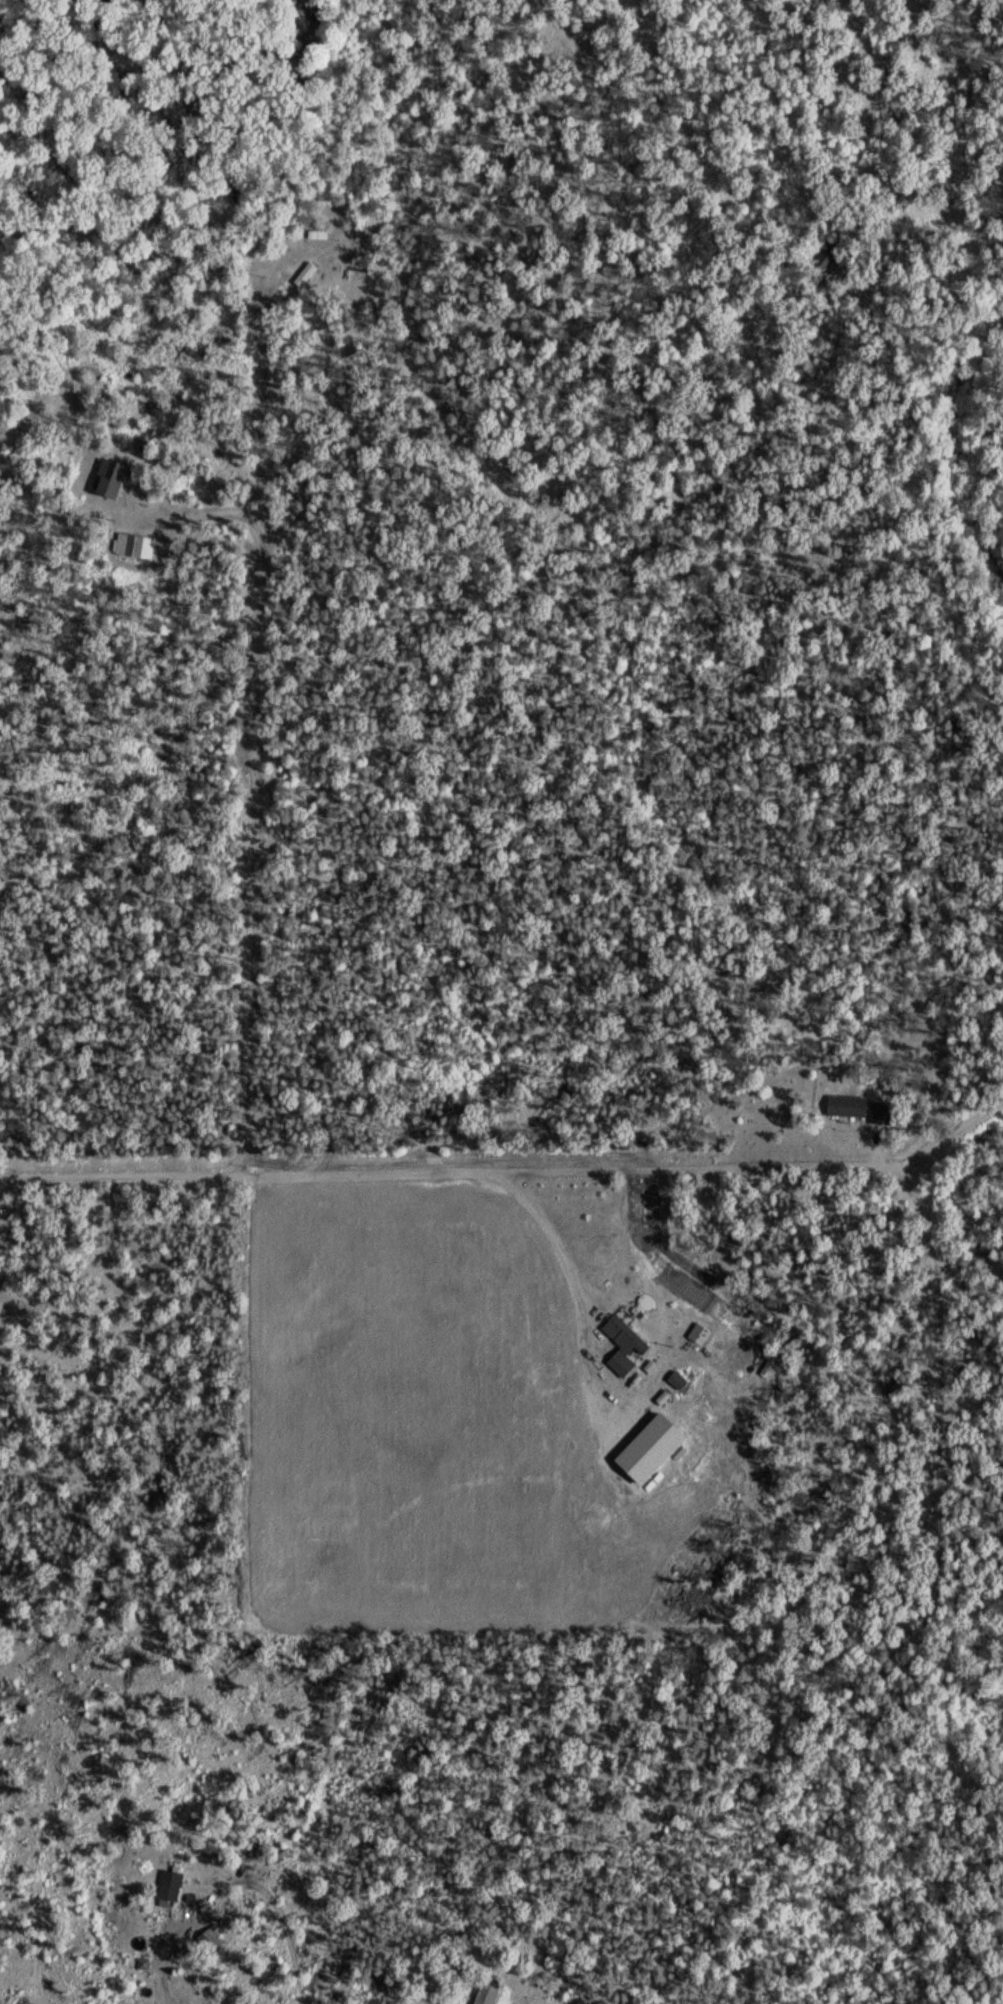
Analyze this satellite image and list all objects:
building: (317, 234)
building: (346, 258)
building: (826, 261)
building: (358, 269)
road: (158, 477)
building: (109, 478)
building: (127, 544)
road: (253, 735)
building: (858, 1108)
road: (667, 1123)
road: (836, 1156)
road: (303, 1176)
road: (554, 1240)
building: (622, 1344)
building: (169, 1886)
building: (208, 1940)
building: (485, 1995)

